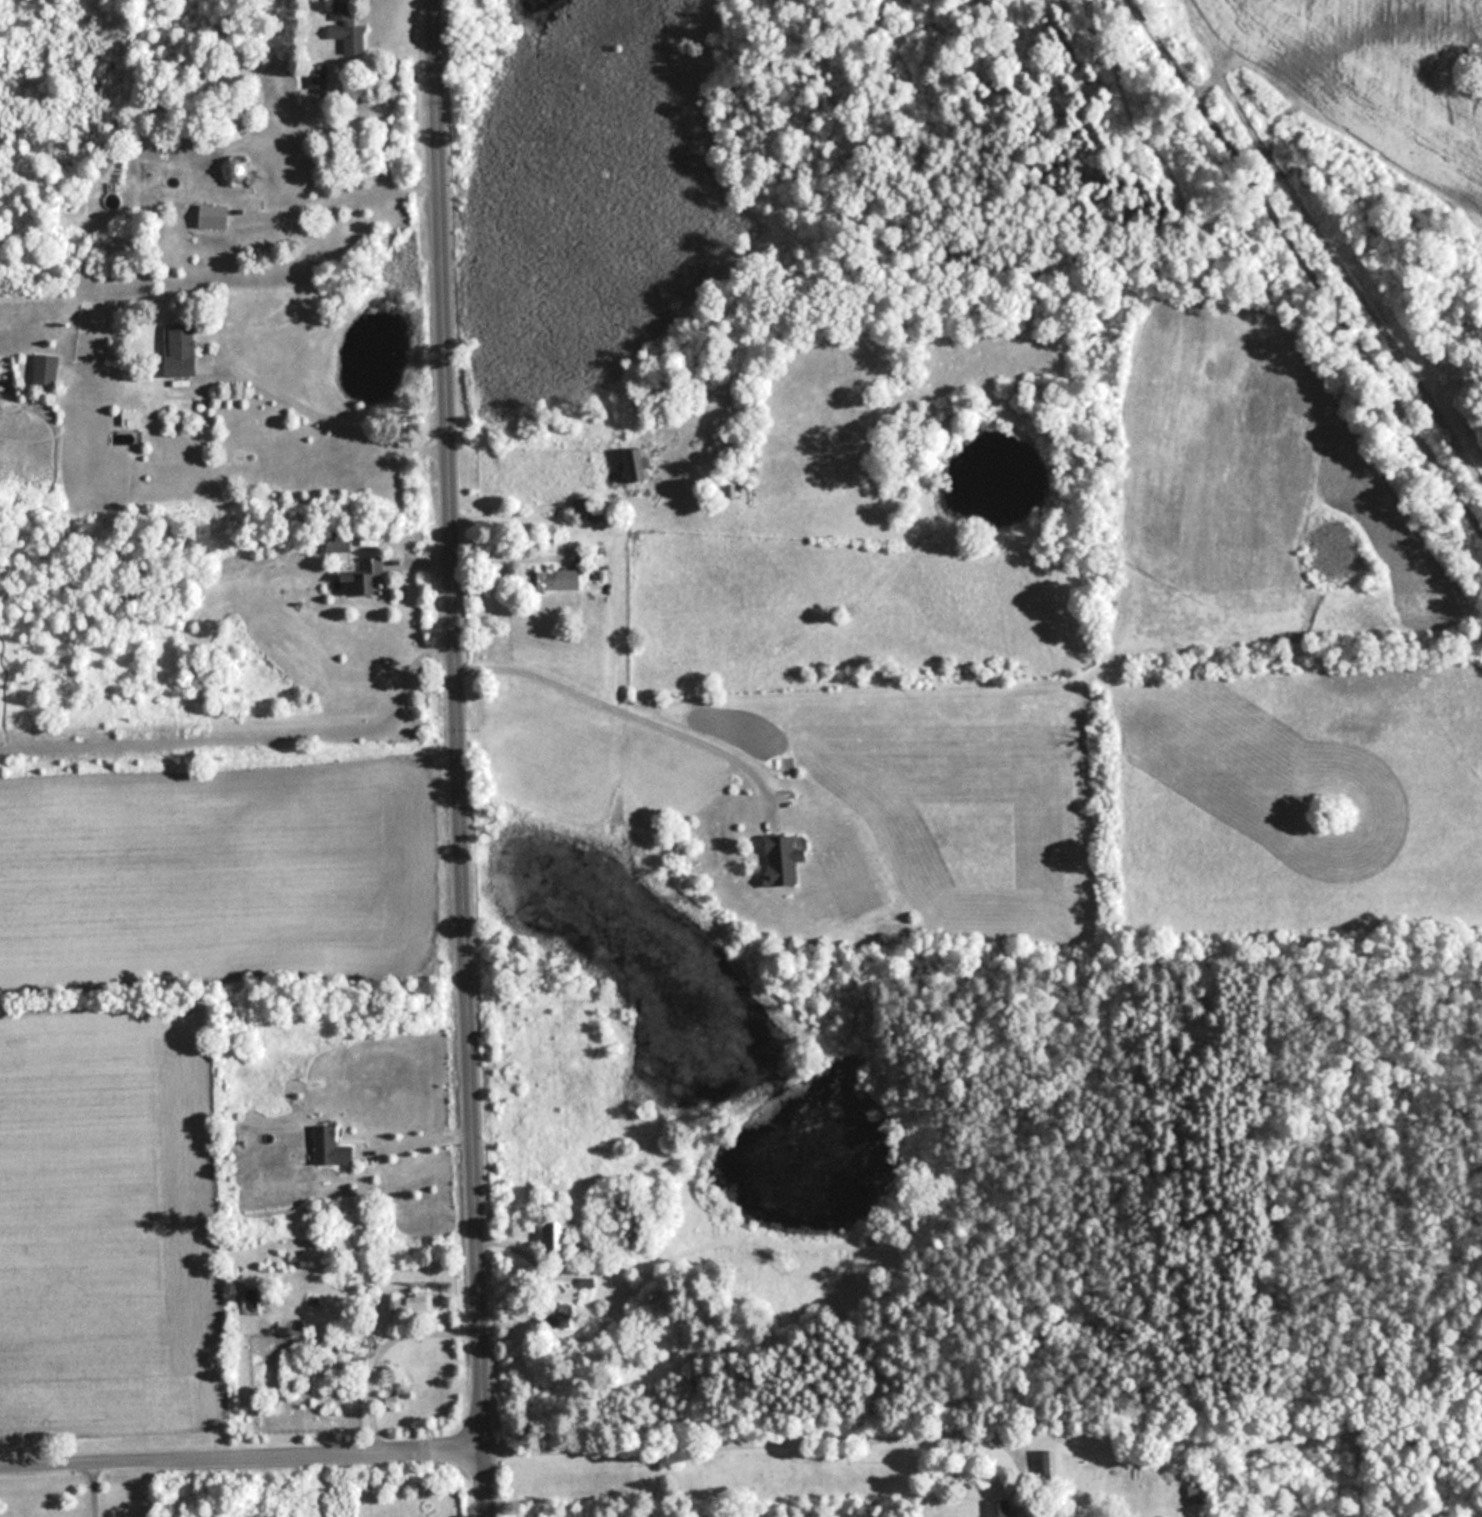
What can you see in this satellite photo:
building: (348, 28)
building: (318, 76)
road: (350, 189)
building: (216, 216)
building: (184, 349)
building: (46, 369)
road: (336, 408)
building: (635, 465)
building: (340, 540)
building: (365, 576)
building: (556, 579)
road: (633, 702)
road: (463, 758)
building: (782, 860)
building: (331, 1147)
building: (557, 1234)
building: (411, 1307)
building: (289, 1384)
road: (244, 1448)
road: (719, 1452)
building: (1049, 1465)
road: (93, 1486)
building: (1194, 1493)
building: (998, 1507)

